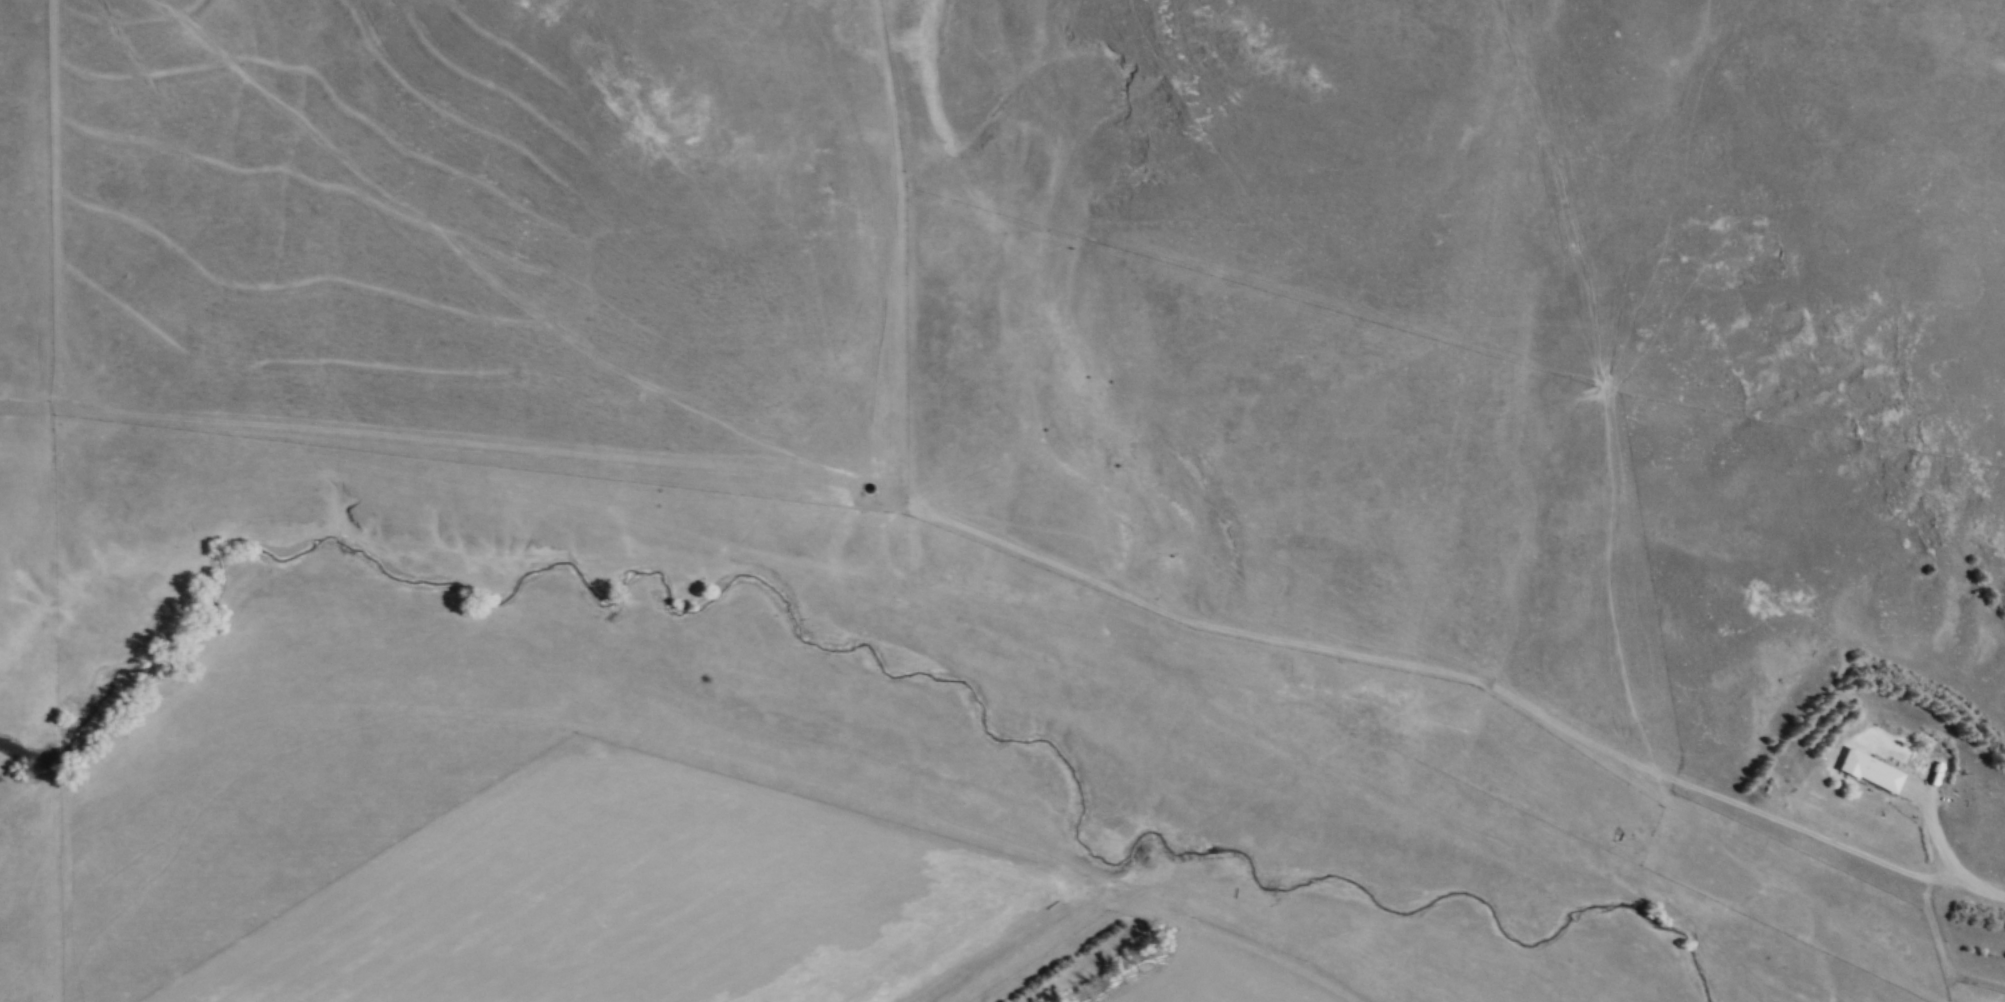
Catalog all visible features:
building: (1870, 770)
road: (1947, 854)

